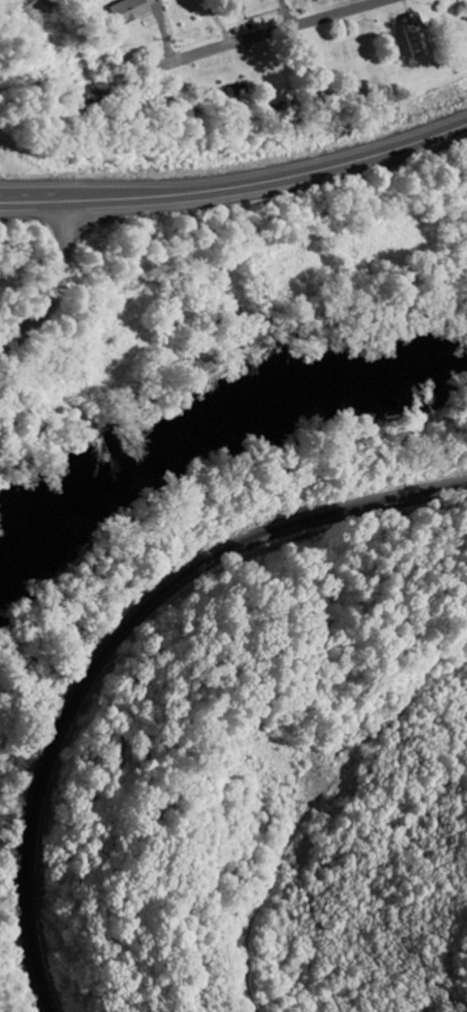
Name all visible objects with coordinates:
building: (36, 7)
building: (129, 10)
road: (292, 11)
road: (215, 21)
road: (263, 31)
building: (417, 37)
road: (238, 184)
road: (50, 280)
river: (202, 428)
railway: (116, 642)
road: (312, 804)

